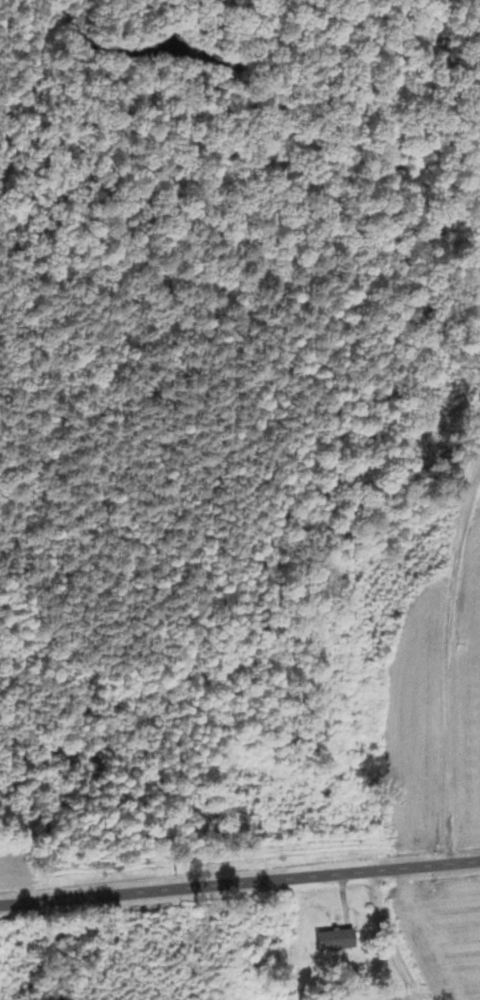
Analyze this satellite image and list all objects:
road: (240, 876)
building: (338, 939)

